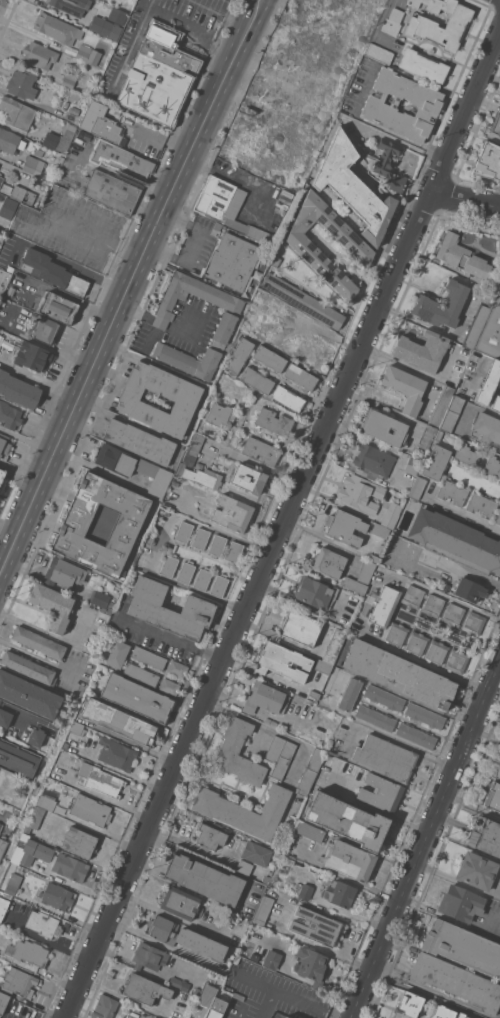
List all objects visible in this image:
building: (71, 5)
building: (117, 15)
building: (392, 22)
road: (169, 26)
building: (104, 27)
building: (423, 27)
building: (58, 28)
building: (307, 36)
road: (345, 47)
building: (85, 53)
building: (379, 53)
building: (39, 54)
building: (423, 66)
building: (69, 80)
building: (157, 80)
building: (22, 84)
building: (99, 94)
building: (75, 95)
building: (427, 103)
building: (499, 105)
road: (317, 109)
road: (464, 109)
building: (74, 110)
building: (17, 112)
building: (343, 115)
building: (496, 124)
building: (106, 127)
building: (59, 139)
building: (10, 141)
building: (260, 151)
building: (122, 159)
building: (488, 161)
building: (32, 164)
building: (389, 165)
building: (0, 173)
building: (1, 180)
road: (240, 182)
building: (353, 187)
building: (6, 188)
building: (110, 191)
building: (23, 194)
road: (464, 198)
building: (224, 205)
building: (8, 207)
building: (217, 226)
building: (499, 242)
road: (193, 246)
building: (303, 246)
building: (461, 256)
building: (233, 261)
building: (275, 261)
building: (53, 271)
building: (496, 283)
road: (132, 291)
building: (303, 300)
building: (442, 305)
building: (58, 308)
road: (140, 312)
road: (160, 321)
road: (158, 324)
building: (223, 325)
building: (476, 325)
building: (44, 329)
building: (491, 331)
road: (188, 333)
road: (151, 340)
building: (422, 350)
building: (239, 354)
building: (33, 356)
building: (269, 358)
building: (300, 376)
building: (257, 379)
building: (499, 382)
building: (489, 383)
building: (405, 387)
building: (18, 389)
building: (288, 398)
building: (185, 399)
building: (496, 403)
building: (441, 405)
building: (452, 413)
building: (9, 415)
building: (33, 415)
building: (220, 415)
building: (274, 422)
building: (383, 427)
building: (486, 428)
building: (438, 435)
building: (427, 436)
building: (139, 441)
building: (4, 444)
building: (193, 449)
building: (262, 450)
building: (469, 455)
building: (115, 459)
building: (374, 459)
building: (437, 462)
building: (412, 464)
building: (492, 466)
building: (180, 467)
building: (2, 474)
building: (203, 477)
building: (155, 478)
building: (249, 478)
building: (418, 487)
building: (452, 491)
building: (361, 492)
building: (482, 504)
road: (463, 512)
building: (232, 513)
building: (391, 515)
building: (498, 518)
building: (75, 524)
building: (345, 526)
building: (380, 530)
building: (184, 532)
building: (456, 538)
building: (200, 539)
building: (217, 545)
building: (234, 552)
building: (374, 557)
building: (329, 562)
road: (448, 563)
building: (169, 565)
building: (367, 571)
building: (186, 572)
building: (64, 573)
building: (202, 578)
building: (354, 584)
building: (219, 585)
building: (469, 589)
building: (448, 591)
building: (313, 593)
building: (413, 596)
building: (112, 604)
road: (245, 604)
building: (52, 605)
building: (384, 605)
building: (433, 605)
building: (110, 610)
building: (170, 610)
building: (453, 614)
building: (473, 623)
building: (299, 626)
building: (396, 633)
road: (173, 636)
building: (39, 642)
building: (416, 642)
building: (471, 644)
building: (334, 645)
building: (436, 651)
building: (118, 653)
building: (149, 657)
building: (456, 661)
building: (283, 662)
road: (423, 662)
building: (323, 666)
building: (28, 667)
building: (178, 669)
building: (141, 674)
building: (399, 674)
building: (169, 687)
building: (29, 694)
building: (314, 694)
building: (350, 694)
building: (137, 697)
building: (384, 697)
building: (265, 698)
building: (425, 715)
building: (5, 717)
building: (375, 717)
building: (118, 721)
building: (270, 722)
building: (77, 728)
building: (416, 735)
building: (36, 737)
building: (231, 746)
building: (116, 754)
building: (279, 755)
building: (385, 757)
building: (18, 758)
building: (310, 771)
building: (498, 772)
building: (99, 780)
building: (381, 792)
building: (493, 796)
building: (50, 801)
road: (471, 805)
building: (90, 810)
building: (245, 810)
building: (34, 819)
building: (347, 820)
building: (310, 831)
road: (97, 834)
building: (210, 835)
building: (485, 836)
road: (424, 837)
building: (79, 842)
building: (3, 846)
building: (33, 852)
building: (257, 853)
building: (349, 859)
building: (70, 867)
building: (244, 867)
building: (477, 870)
road: (343, 875)
building: (204, 879)
building: (13, 884)
building: (303, 891)
building: (340, 893)
building: (57, 896)
building: (180, 903)
building: (461, 903)
building: (3, 907)
building: (264, 909)
building: (43, 924)
building: (316, 926)
building: (184, 937)
road: (322, 946)
building: (463, 947)
building: (31, 952)
building: (148, 956)
building: (254, 956)
building: (272, 959)
building: (312, 965)
road: (252, 980)
building: (457, 981)
building: (17, 982)
building: (179, 983)
building: (145, 989)
building: (197, 990)
road: (298, 999)
building: (4, 1001)
building: (212, 1002)
road: (261, 1002)
building: (408, 1005)
building: (104, 1007)
building: (442, 1012)
road: (332, 1015)
building: (461, 1015)
building: (282, 1017)
building: (285, 1017)

